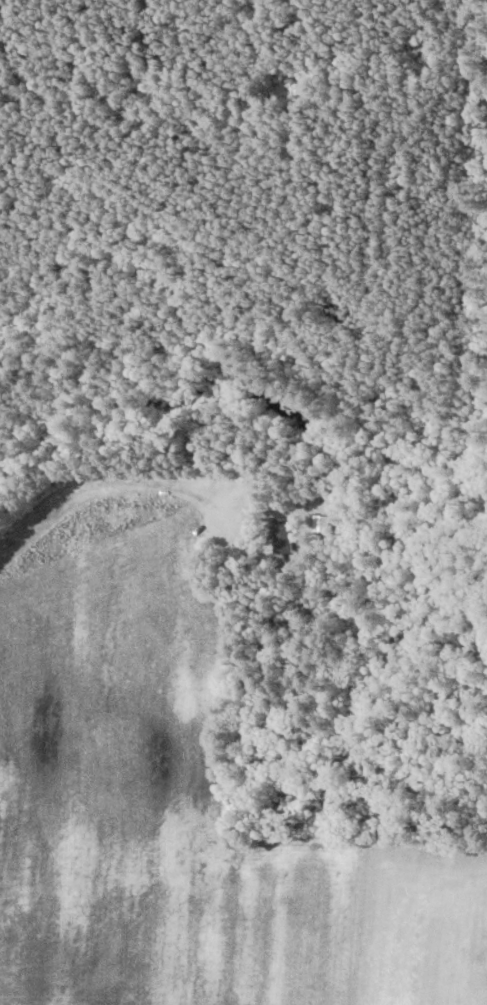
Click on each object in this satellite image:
road: (138, 480)
building: (282, 534)

